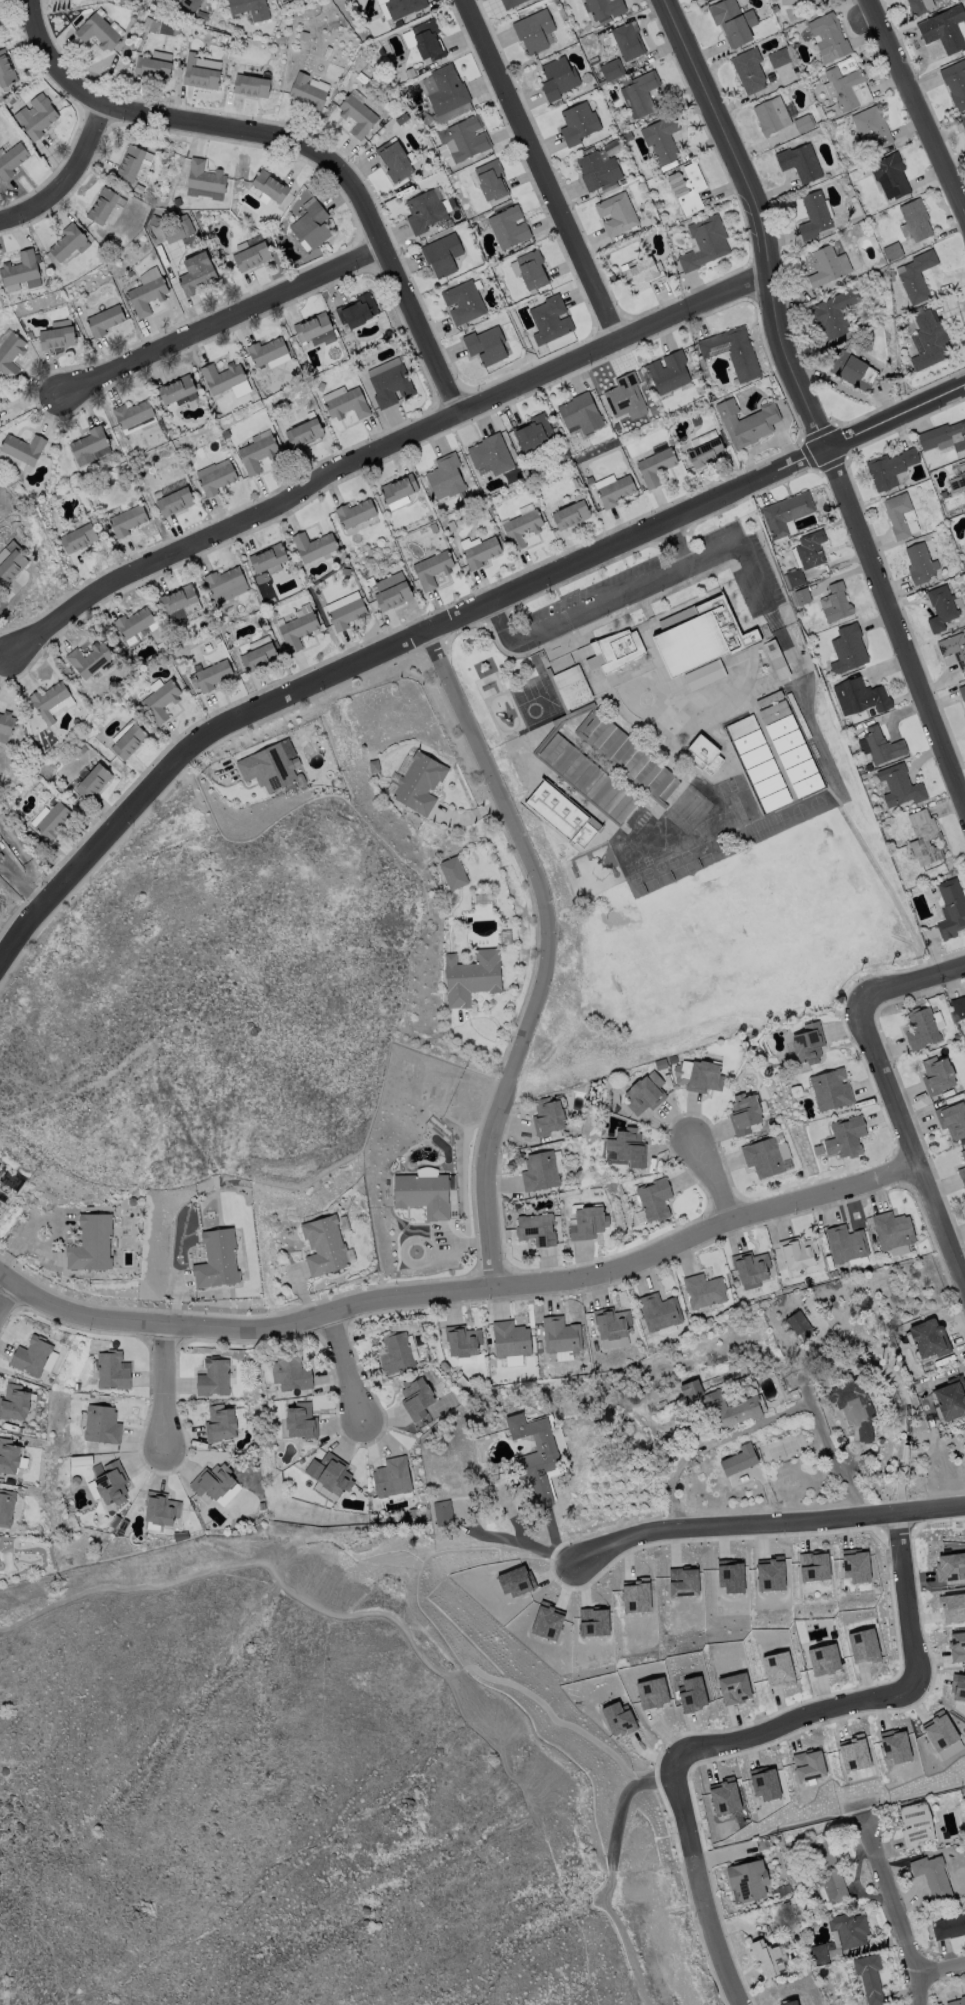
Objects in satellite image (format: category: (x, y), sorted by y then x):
building: (703, 0)
building: (556, 2)
building: (803, 2)
building: (511, 3)
building: (190, 4)
building: (404, 7)
building: (917, 7)
building: (248, 8)
building: (604, 8)
building: (775, 8)
building: (733, 21)
building: (165, 27)
building: (944, 29)
building: (96, 31)
building: (534, 31)
building: (829, 35)
building: (428, 40)
building: (628, 41)
building: (779, 58)
building: (650, 59)
building: (151, 67)
building: (5, 69)
building: (612, 70)
building: (749, 70)
building: (200, 71)
building: (410, 73)
building: (362, 78)
building: (558, 78)
building: (587, 78)
building: (956, 83)
building: (250, 85)
building: (843, 87)
building: (307, 90)
building: (447, 90)
building: (640, 94)
road: (915, 109)
building: (821, 114)
building: (35, 115)
building: (358, 116)
building: (772, 116)
building: (402, 119)
building: (962, 120)
building: (381, 124)
building: (578, 124)
building: (804, 124)
building: (819, 124)
building: (630, 127)
building: (872, 127)
building: (627, 137)
building: (465, 138)
building: (662, 138)
road: (293, 141)
building: (11, 159)
building: (395, 161)
building: (800, 162)
building: (132, 163)
road: (545, 169)
building: (598, 171)
building: (891, 175)
road: (68, 176)
building: (203, 180)
building: (491, 180)
building: (269, 185)
building: (688, 188)
building: (101, 206)
building: (425, 212)
building: (617, 214)
building: (814, 216)
building: (916, 220)
building: (448, 222)
building: (309, 224)
building: (509, 227)
building: (176, 228)
building: (65, 242)
building: (705, 243)
building: (893, 252)
building: (250, 255)
building: (443, 255)
building: (843, 262)
building: (825, 267)
building: (21, 270)
building: (532, 270)
building: (196, 272)
building: (641, 274)
building: (917, 277)
building: (612, 278)
building: (146, 291)
building: (464, 302)
building: (358, 311)
building: (835, 313)
building: (103, 319)
road: (225, 319)
building: (550, 320)
building: (59, 323)
building: (465, 326)
building: (315, 330)
building: (55, 337)
building: (930, 341)
building: (486, 346)
building: (266, 351)
building: (733, 352)
building: (9, 354)
building: (539, 354)
building: (850, 370)
building: (668, 372)
building: (224, 378)
building: (391, 386)
building: (321, 387)
building: (176, 390)
building: (332, 392)
building: (626, 397)
building: (710, 397)
road: (804, 403)
building: (348, 405)
building: (581, 413)
building: (132, 415)
building: (696, 421)
building: (747, 422)
building: (533, 432)
building: (304, 433)
building: (944, 437)
building: (89, 445)
road: (378, 449)
building: (20, 450)
building: (256, 451)
building: (706, 453)
building: (491, 455)
building: (964, 459)
building: (622, 465)
building: (655, 466)
building: (890, 468)
building: (214, 475)
building: (446, 477)
building: (962, 480)
building: (576, 482)
building: (399, 489)
building: (615, 491)
building: (945, 497)
building: (173, 501)
building: (355, 513)
building: (786, 513)
building: (571, 515)
building: (898, 515)
building: (830, 518)
building: (126, 519)
building: (433, 528)
building: (451, 528)
building: (522, 528)
building: (77, 537)
road: (675, 543)
building: (314, 546)
building: (811, 549)
building: (481, 553)
building: (266, 557)
building: (794, 557)
building: (10, 564)
building: (920, 564)
building: (433, 569)
road: (664, 573)
building: (796, 578)
building: (225, 583)
building: (393, 596)
building: (803, 596)
building: (177, 601)
building: (837, 603)
building: (941, 608)
road: (492, 609)
building: (347, 614)
road: (445, 623)
building: (132, 624)
road: (500, 627)
building: (298, 630)
building: (701, 636)
road: (518, 640)
building: (258, 641)
building: (618, 649)
building: (954, 649)
building: (848, 650)
road: (3, 654)
building: (257, 656)
building: (88, 658)
building: (777, 660)
building: (211, 674)
building: (705, 675)
building: (572, 687)
building: (962, 692)
building: (860, 697)
building: (769, 699)
building: (50, 700)
building: (159, 700)
building: (774, 712)
building: (964, 714)
building: (798, 715)
building: (848, 723)
building: (4, 725)
building: (742, 727)
building: (781, 727)
building: (126, 739)
building: (749, 741)
building: (787, 741)
building: (880, 746)
building: (704, 755)
building: (756, 756)
building: (794, 756)
building: (630, 757)
building: (374, 766)
building: (266, 767)
building: (762, 771)
building: (801, 771)
building: (860, 771)
building: (588, 778)
building: (92, 780)
building: (420, 784)
building: (807, 785)
building: (769, 786)
building: (900, 786)
building: (775, 800)
building: (563, 813)
building: (49, 818)
building: (925, 839)
building: (454, 873)
building: (932, 889)
building: (951, 909)
road: (548, 950)
building: (472, 977)
road: (914, 981)
building: (958, 1007)
building: (922, 1029)
building: (957, 1037)
building: (809, 1044)
building: (673, 1060)
building: (660, 1064)
building: (938, 1075)
building: (699, 1076)
building: (832, 1090)
building: (645, 1094)
building: (744, 1114)
building: (548, 1116)
building: (952, 1120)
building: (846, 1138)
road: (909, 1142)
building: (780, 1145)
building: (629, 1147)
building: (818, 1150)
building: (963, 1155)
building: (764, 1158)
building: (425, 1170)
building: (540, 1172)
building: (962, 1175)
road: (715, 1180)
building: (423, 1195)
building: (655, 1200)
building: (588, 1223)
building: (536, 1229)
building: (893, 1230)
building: (90, 1243)
building: (847, 1244)
building: (325, 1246)
building: (798, 1252)
building: (215, 1259)
building: (751, 1267)
road: (459, 1290)
building: (705, 1291)
road: (8, 1298)
building: (659, 1312)
building: (612, 1323)
building: (800, 1324)
building: (630, 1329)
building: (561, 1336)
building: (511, 1339)
building: (930, 1339)
building: (463, 1341)
building: (613, 1342)
building: (539, 1347)
building: (397, 1353)
building: (30, 1355)
road: (802, 1359)
building: (422, 1364)
road: (347, 1367)
building: (111, 1370)
building: (291, 1373)
building: (212, 1377)
building: (676, 1379)
road: (167, 1388)
building: (417, 1398)
building: (951, 1398)
building: (854, 1400)
building: (13, 1402)
building: (663, 1404)
building: (720, 1406)
building: (302, 1421)
building: (99, 1423)
building: (219, 1423)
building: (865, 1434)
building: (535, 1455)
building: (8, 1457)
road: (834, 1459)
building: (740, 1460)
building: (302, 1461)
building: (331, 1474)
building: (392, 1478)
building: (211, 1481)
building: (110, 1483)
building: (5, 1506)
building: (159, 1508)
building: (443, 1513)
road: (764, 1525)
building: (854, 1564)
building: (951, 1565)
building: (812, 1566)
road: (910, 1600)
building: (954, 1606)
road: (9, 1634)
building: (957, 1640)
road: (445, 1686)
building: (959, 1693)
road: (742, 1730)
building: (940, 1734)
road: (588, 1756)
building: (915, 1824)
road: (541, 1830)
building: (780, 1840)
building: (828, 1871)
building: (933, 1876)
building: (748, 1880)
road: (895, 1911)
road: (34, 1924)
building: (949, 1927)
building: (850, 1930)
road: (711, 1933)
building: (819, 1954)
building: (835, 1954)
building: (765, 1958)
road: (941, 1972)
building: (870, 1978)
building: (957, 2002)
building: (790, 2003)

